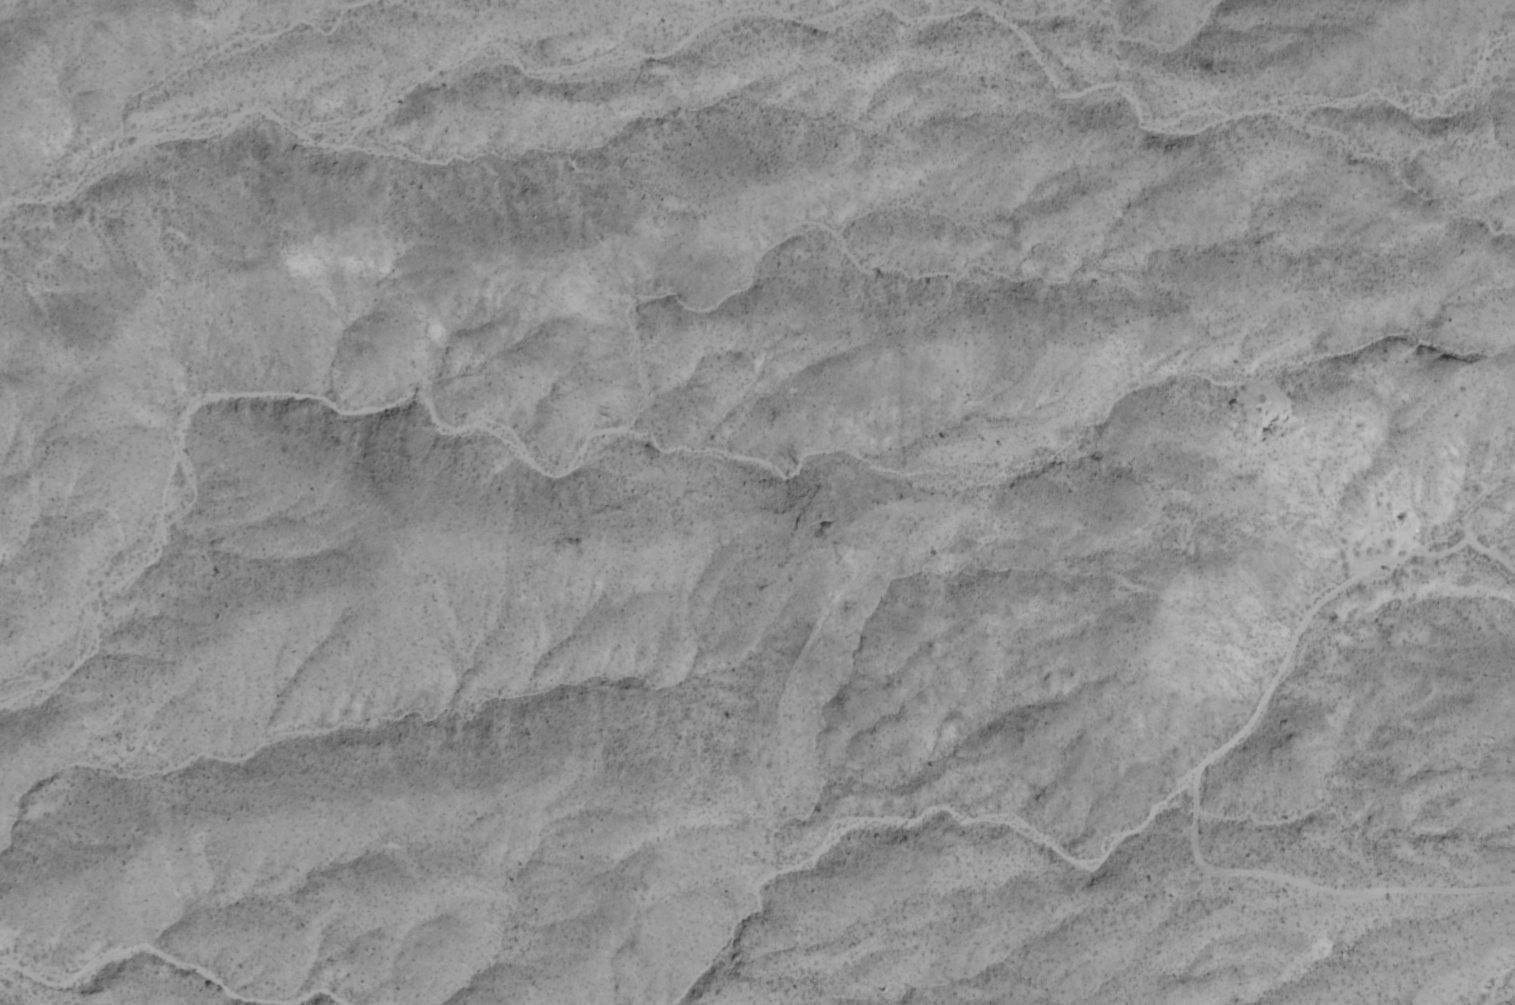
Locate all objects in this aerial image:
road: (1201, 830)

